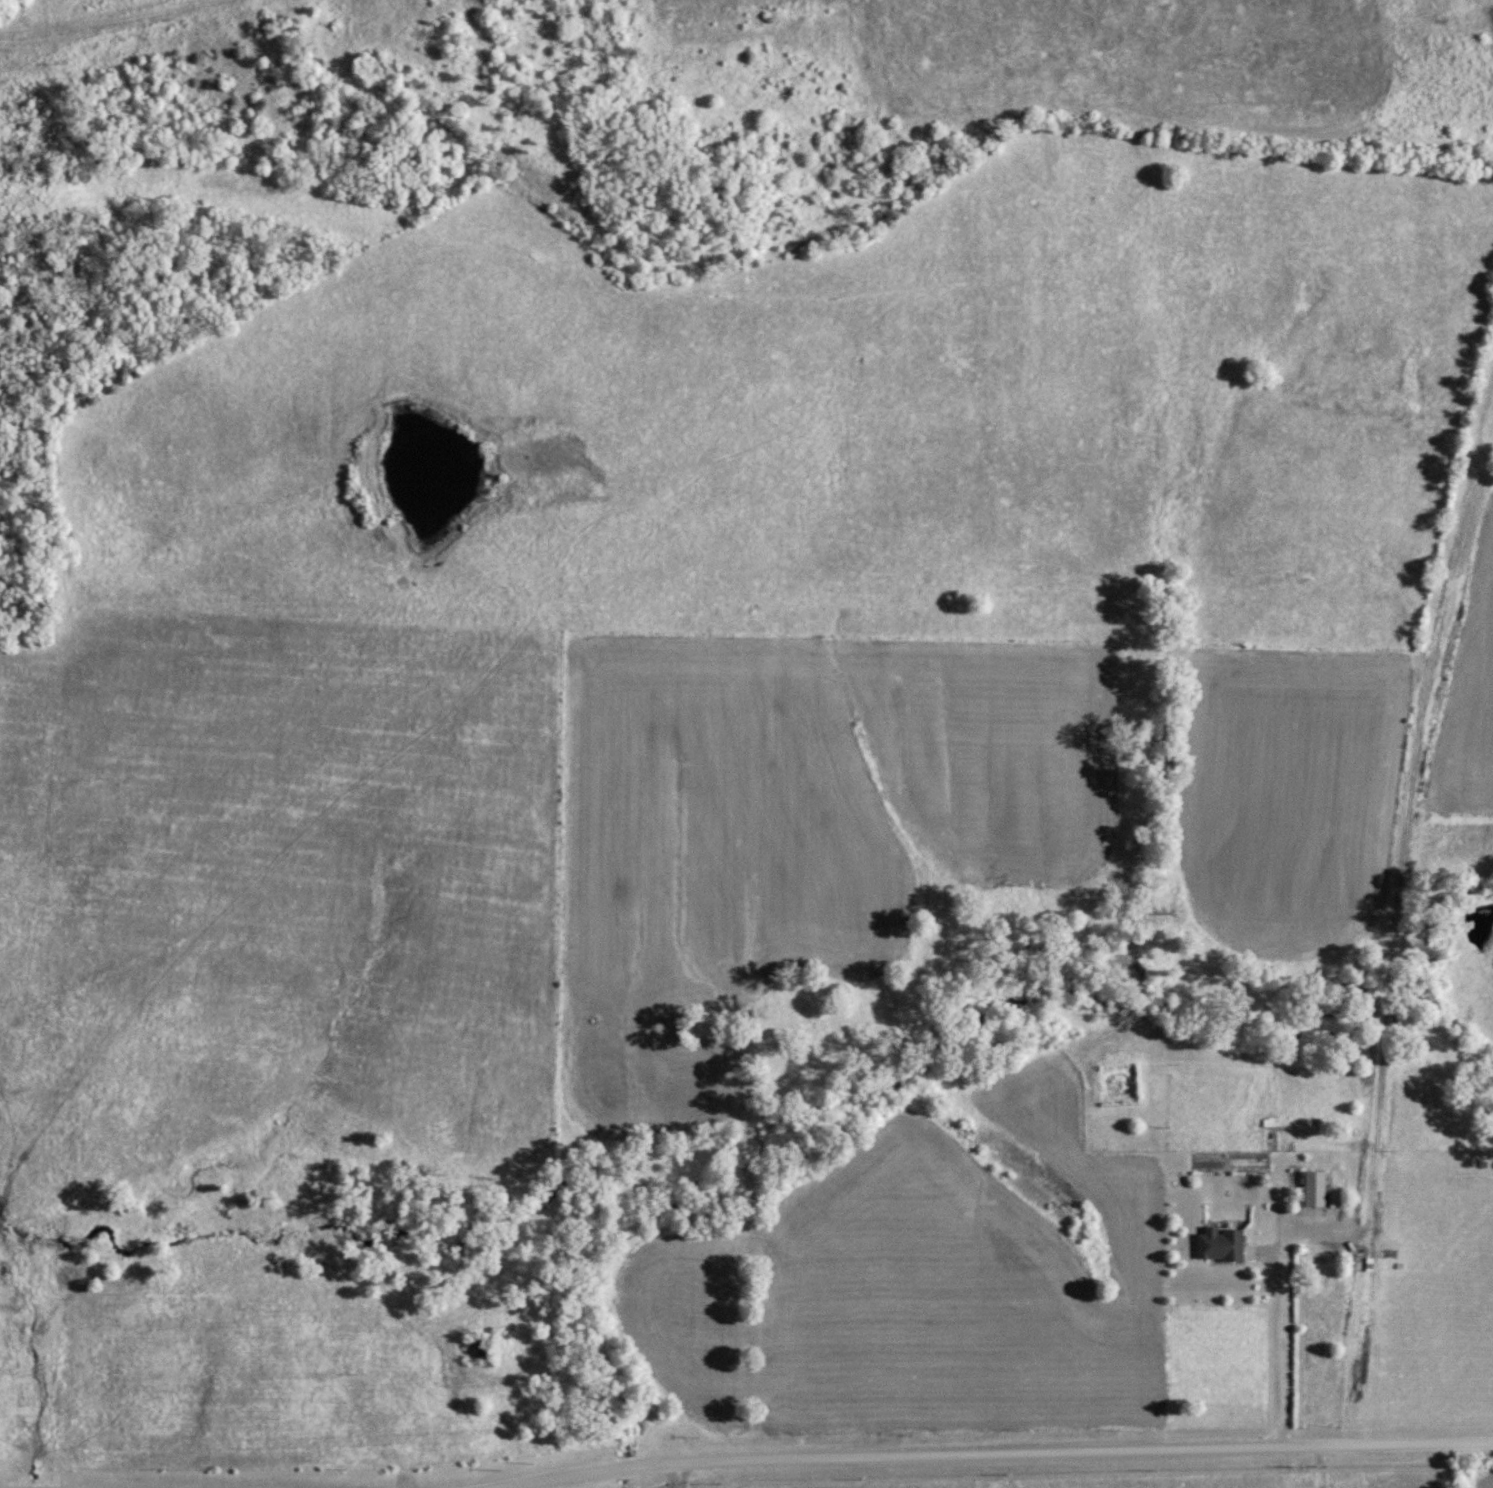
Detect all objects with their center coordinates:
road: (113, 23)
building: (1313, 1188)
building: (1218, 1243)
road: (1282, 1315)
road: (1000, 1451)
road: (672, 1476)

